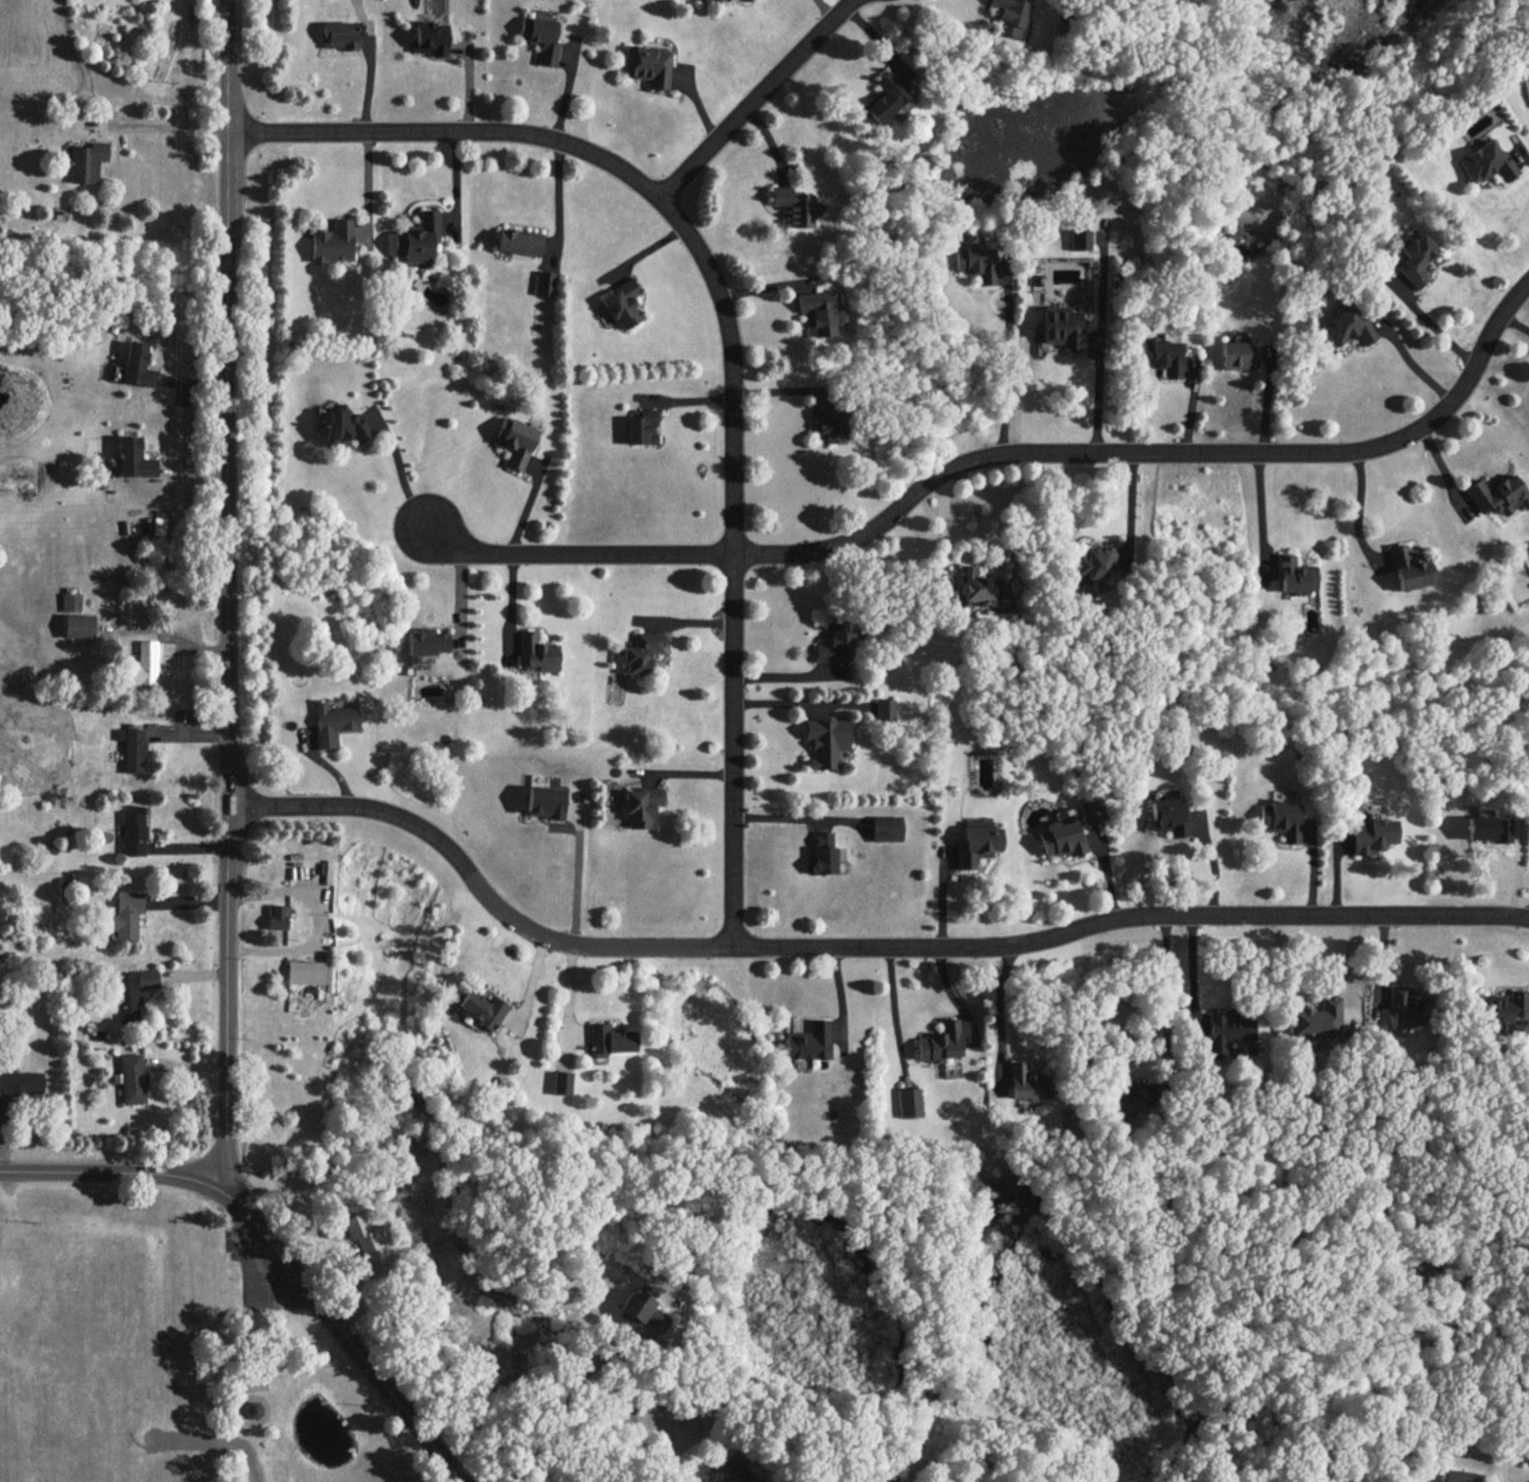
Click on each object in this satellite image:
building: (702, 1)
building: (718, 1)
road: (830, 6)
building: (1009, 16)
building: (338, 35)
building: (430, 38)
building: (544, 40)
building: (648, 65)
road: (566, 88)
building: (886, 97)
road: (752, 100)
road: (161, 120)
road: (1527, 153)
building: (86, 162)
building: (1487, 163)
road: (454, 181)
road: (556, 195)
building: (794, 206)
building: (421, 237)
building: (1079, 239)
building: (333, 242)
building: (519, 242)
building: (1414, 258)
building: (976, 262)
building: (544, 283)
building: (622, 304)
building: (820, 313)
building: (1061, 326)
building: (1347, 327)
road: (728, 335)
road: (1431, 337)
building: (1239, 354)
building: (137, 365)
road: (1415, 368)
road: (1003, 378)
road: (1097, 397)
building: (830, 421)
building: (341, 427)
building: (642, 427)
building: (518, 442)
building: (133, 458)
road: (999, 458)
road: (401, 464)
road: (528, 501)
road: (1131, 504)
road: (1356, 513)
road: (1258, 517)
building: (159, 523)
building: (1094, 561)
building: (1409, 568)
road: (228, 573)
building: (1294, 575)
building: (977, 587)
building: (70, 601)
road: (511, 602)
road: (460, 605)
road: (174, 626)
building: (425, 643)
building: (837, 643)
building: (642, 653)
building: (537, 654)
building: (143, 665)
road: (794, 677)
road: (792, 704)
building: (885, 709)
building: (331, 723)
building: (826, 741)
building: (132, 748)
building: (545, 801)
building: (640, 806)
building: (1092, 811)
building: (1169, 817)
road: (795, 819)
building: (1281, 819)
building: (886, 828)
building: (1488, 828)
building: (134, 833)
building: (1371, 835)
building: (1061, 838)
building: (975, 842)
building: (823, 852)
road: (1217, 865)
road: (578, 877)
building: (126, 915)
building: (277, 917)
road: (319, 921)
road: (859, 947)
road: (1192, 970)
building: (305, 972)
building: (133, 993)
road: (1167, 1002)
building: (1406, 1007)
building: (482, 1008)
road: (999, 1013)
building: (1316, 1019)
building: (1228, 1031)
building: (610, 1039)
building: (808, 1042)
building: (940, 1042)
building: (131, 1078)
building: (562, 1082)
building: (21, 1083)
building: (1028, 1083)
building: (1127, 1098)
building: (909, 1102)
road: (219, 1167)
road: (94, 1170)
road: (204, 1182)
road: (228, 1196)
building: (364, 1239)
parking lot: (253, 1277)
building: (641, 1312)
road: (348, 1344)
park: (160, 1358)
building: (253, 1409)
road: (559, 1409)
road: (218, 1443)
building: (731, 1473)
building: (1463, 1476)

